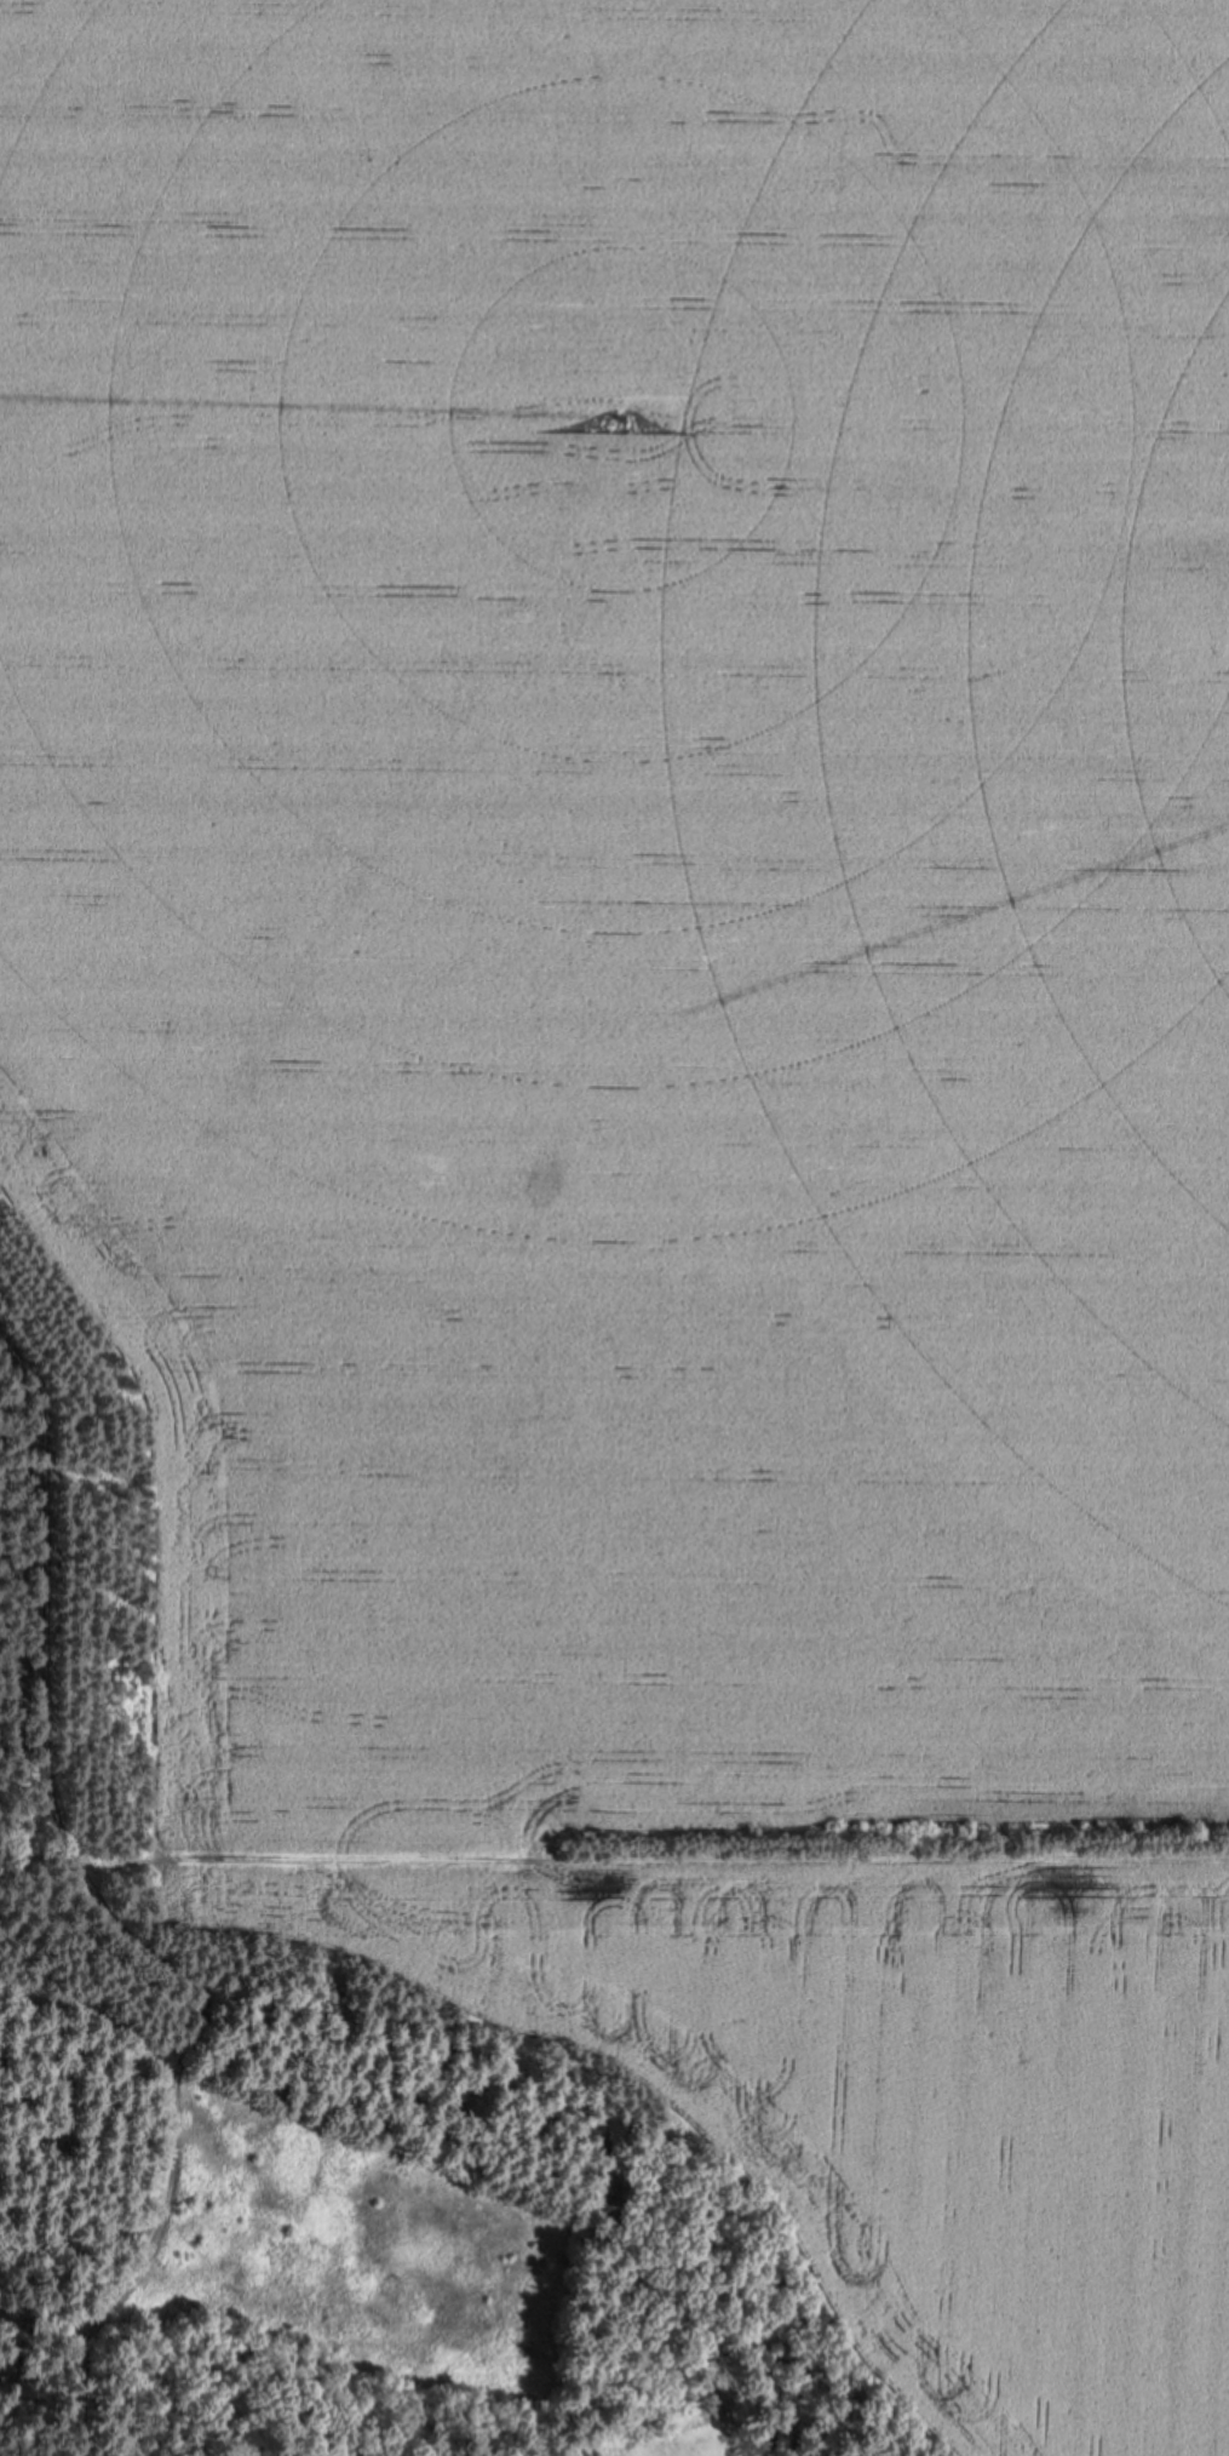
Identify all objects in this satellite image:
road: (124, 2182)

